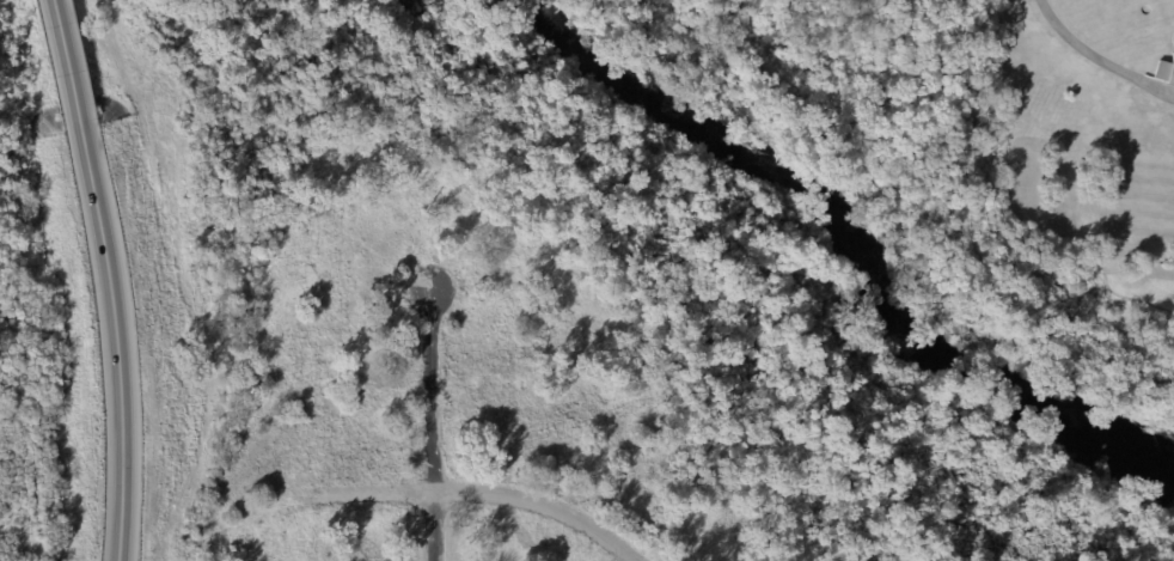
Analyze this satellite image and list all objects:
road: (1099, 57)
road: (68, 69)
building: (1164, 71)
river: (840, 244)
airport: (27, 325)
road: (115, 348)
road: (432, 423)
road: (487, 494)

